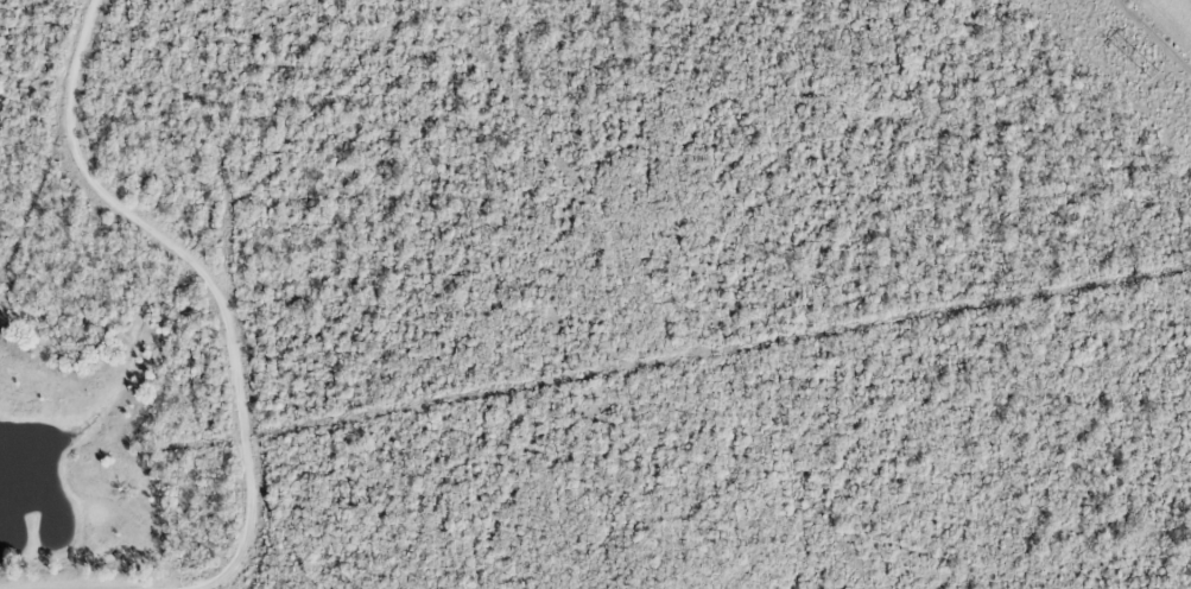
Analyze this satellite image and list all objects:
power tower: (1153, 76)

